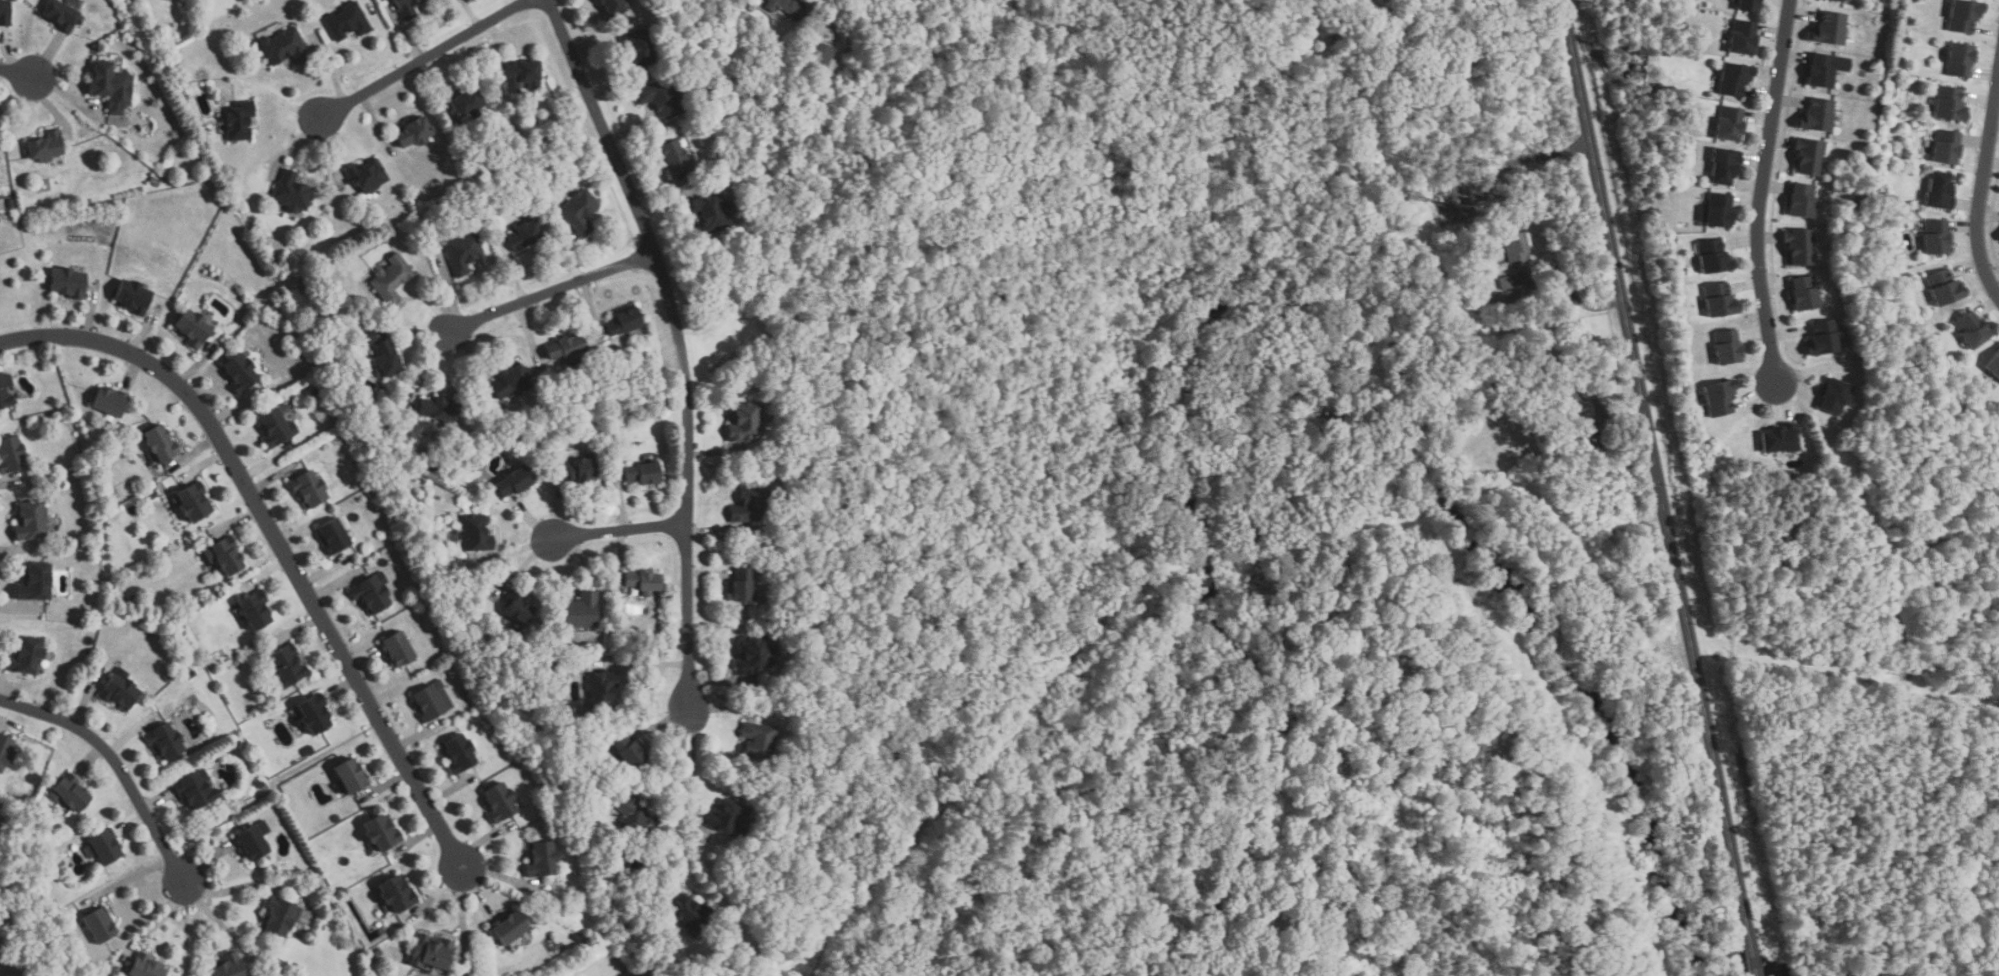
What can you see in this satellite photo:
building: (1765, 0)
building: (1839, 0)
building: (1750, 5)
building: (611, 7)
building: (787, 7)
building: (406, 8)
building: (5, 13)
road: (827, 14)
building: (60, 15)
building: (1966, 15)
building: (347, 22)
building: (1832, 28)
building: (1334, 31)
building: (1745, 37)
building: (285, 47)
building: (638, 48)
building: (820, 54)
building: (1962, 59)
road: (424, 60)
building: (1828, 69)
road: (17, 71)
building: (521, 75)
building: (1735, 79)
building: (111, 86)
building: (818, 92)
building: (660, 97)
building: (466, 102)
building: (1951, 104)
building: (1819, 116)
building: (239, 120)
building: (1731, 123)
building: (414, 133)
building: (45, 147)
building: (1949, 147)
building: (674, 155)
building: (1809, 156)
road: (1528, 160)
building: (1725, 166)
building: (367, 176)
building: (154, 182)
road: (1981, 186)
road: (1759, 190)
building: (1942, 190)
building: (292, 192)
building: (1804, 201)
building: (1859, 201)
building: (579, 211)
building: (1720, 211)
building: (711, 212)
building: (524, 235)
building: (1938, 237)
building: (1516, 247)
building: (1800, 247)
building: (463, 252)
building: (1714, 258)
building: (390, 279)
building: (305, 282)
building: (1507, 282)
building: (68, 283)
building: (1946, 289)
road: (1572, 293)
building: (1806, 294)
building: (1506, 295)
building: (133, 297)
road: (550, 301)
building: (1720, 301)
building: (278, 307)
building: (624, 321)
building: (193, 328)
building: (1974, 330)
building: (367, 337)
building: (1825, 339)
road: (679, 343)
building: (1728, 347)
building: (566, 349)
building: (385, 359)
building: (1994, 365)
building: (239, 373)
building: (510, 381)
building: (2, 391)
road: (1597, 395)
building: (1836, 396)
building: (1720, 398)
building: (109, 401)
building: (1572, 403)
building: (439, 410)
building: (742, 420)
building: (1587, 425)
building: (276, 429)
building: (1565, 439)
building: (1782, 439)
building: (161, 444)
building: (11, 454)
road: (1655, 466)
building: (578, 470)
building: (644, 473)
building: (514, 482)
building: (308, 490)
building: (152, 495)
building: (193, 502)
building: (110, 503)
building: (748, 504)
building: (30, 521)
building: (475, 534)
road: (276, 537)
building: (334, 537)
road: (619, 543)
building: (227, 555)
building: (643, 581)
building: (35, 583)
building: (742, 587)
building: (372, 594)
building: (255, 609)
building: (519, 609)
building: (578, 611)
building: (398, 649)
building: (754, 654)
building: (26, 655)
building: (286, 667)
building: (190, 673)
building: (168, 676)
building: (601, 689)
building: (119, 691)
building: (432, 700)
building: (313, 714)
building: (165, 741)
building: (757, 741)
building: (234, 744)
building: (4, 750)
building: (308, 751)
building: (459, 751)
building: (628, 751)
road: (116, 764)
road: (692, 770)
building: (351, 774)
building: (259, 784)
building: (195, 789)
building: (69, 793)
road: (680, 797)
building: (500, 801)
building: (635, 818)
building: (726, 818)
building: (336, 819)
building: (383, 831)
building: (251, 843)
building: (103, 847)
building: (541, 858)
building: (397, 892)
building: (689, 912)
building: (279, 916)
building: (99, 925)
building: (509, 926)
building: (430, 952)
road: (1751, 954)
building: (229, 966)
building: (145, 967)

